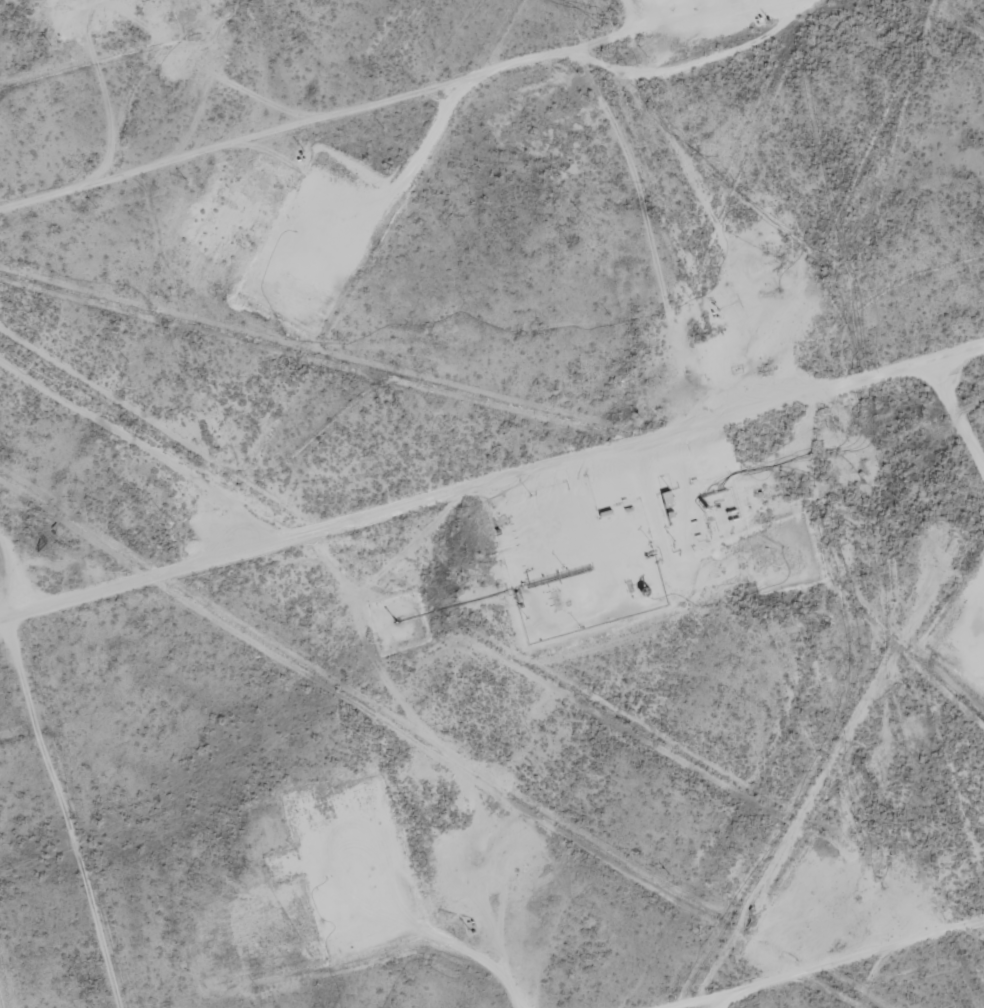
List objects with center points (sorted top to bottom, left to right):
road: (492, 469)

